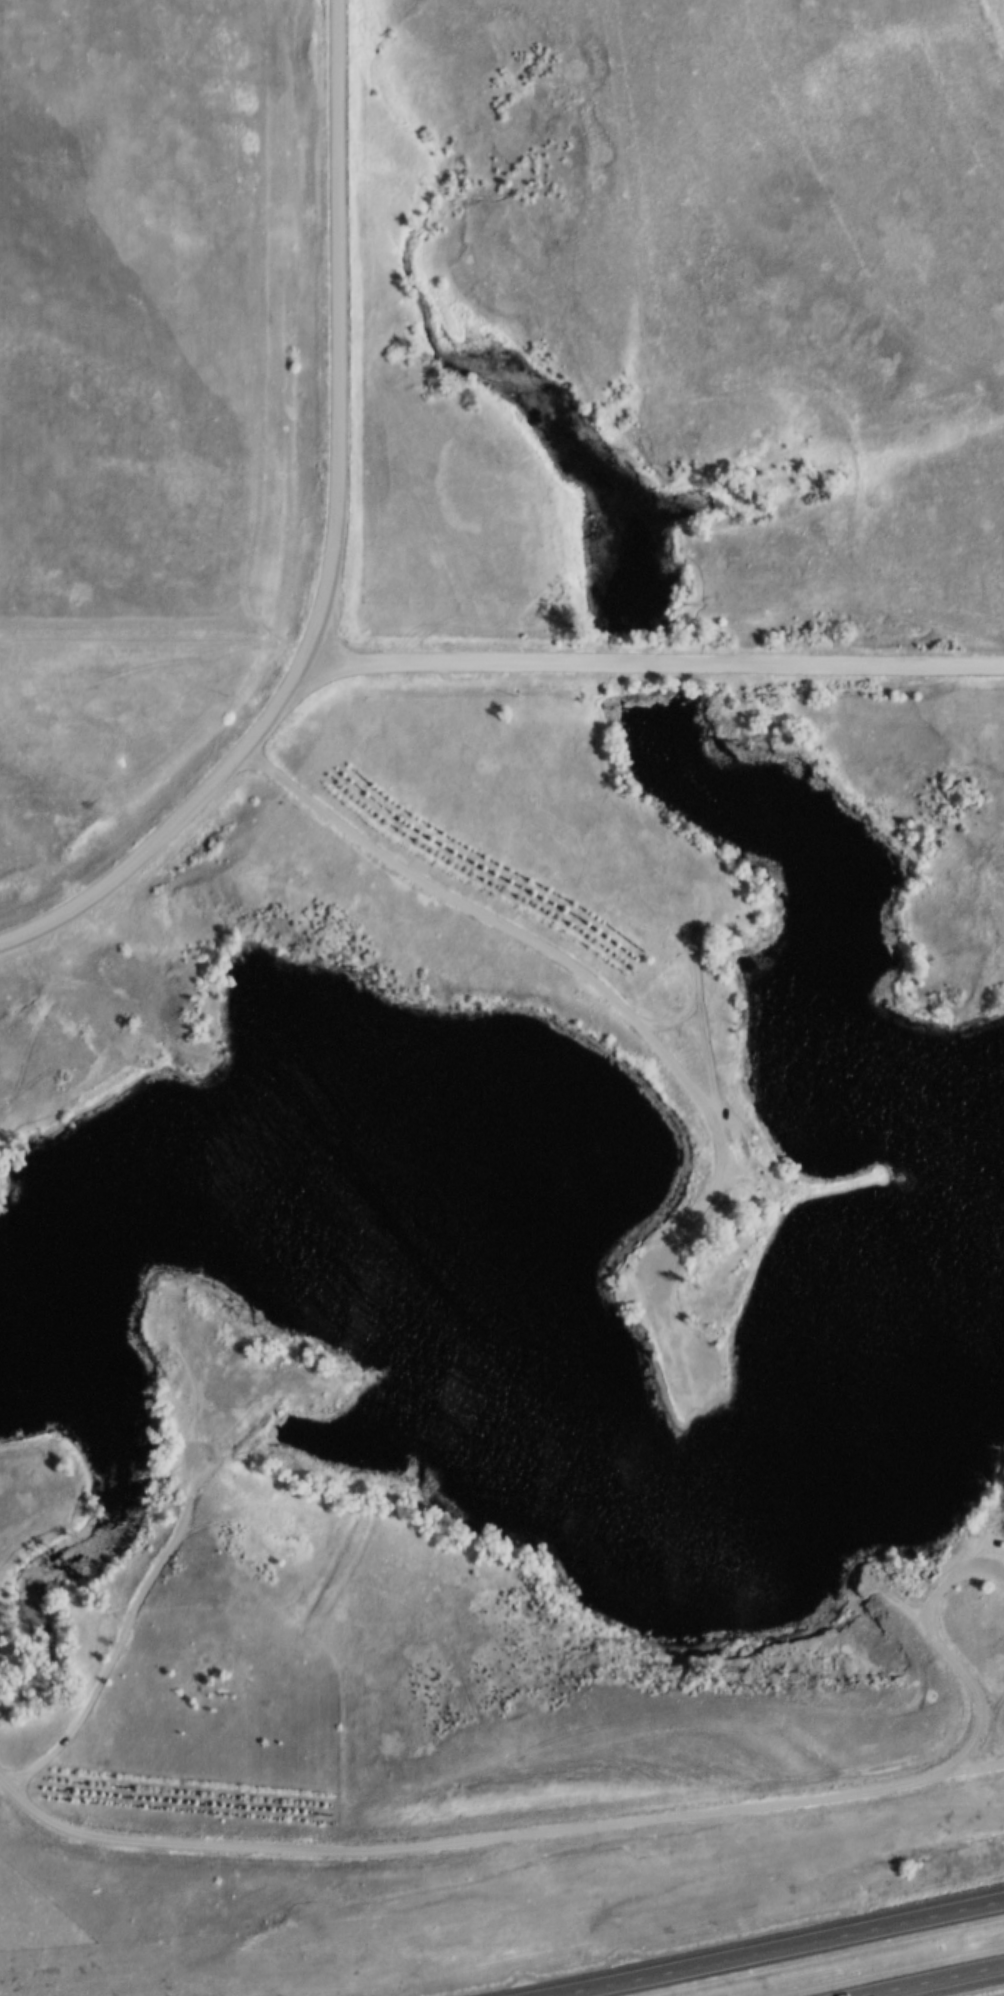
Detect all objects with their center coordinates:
road: (339, 336)
road: (157, 650)
road: (655, 666)
road: (171, 829)
road: (591, 985)
road: (30, 1511)
road: (141, 1604)
road: (927, 1637)
road: (998, 1716)
road: (505, 1849)
road: (782, 1951)
road: (958, 1986)

